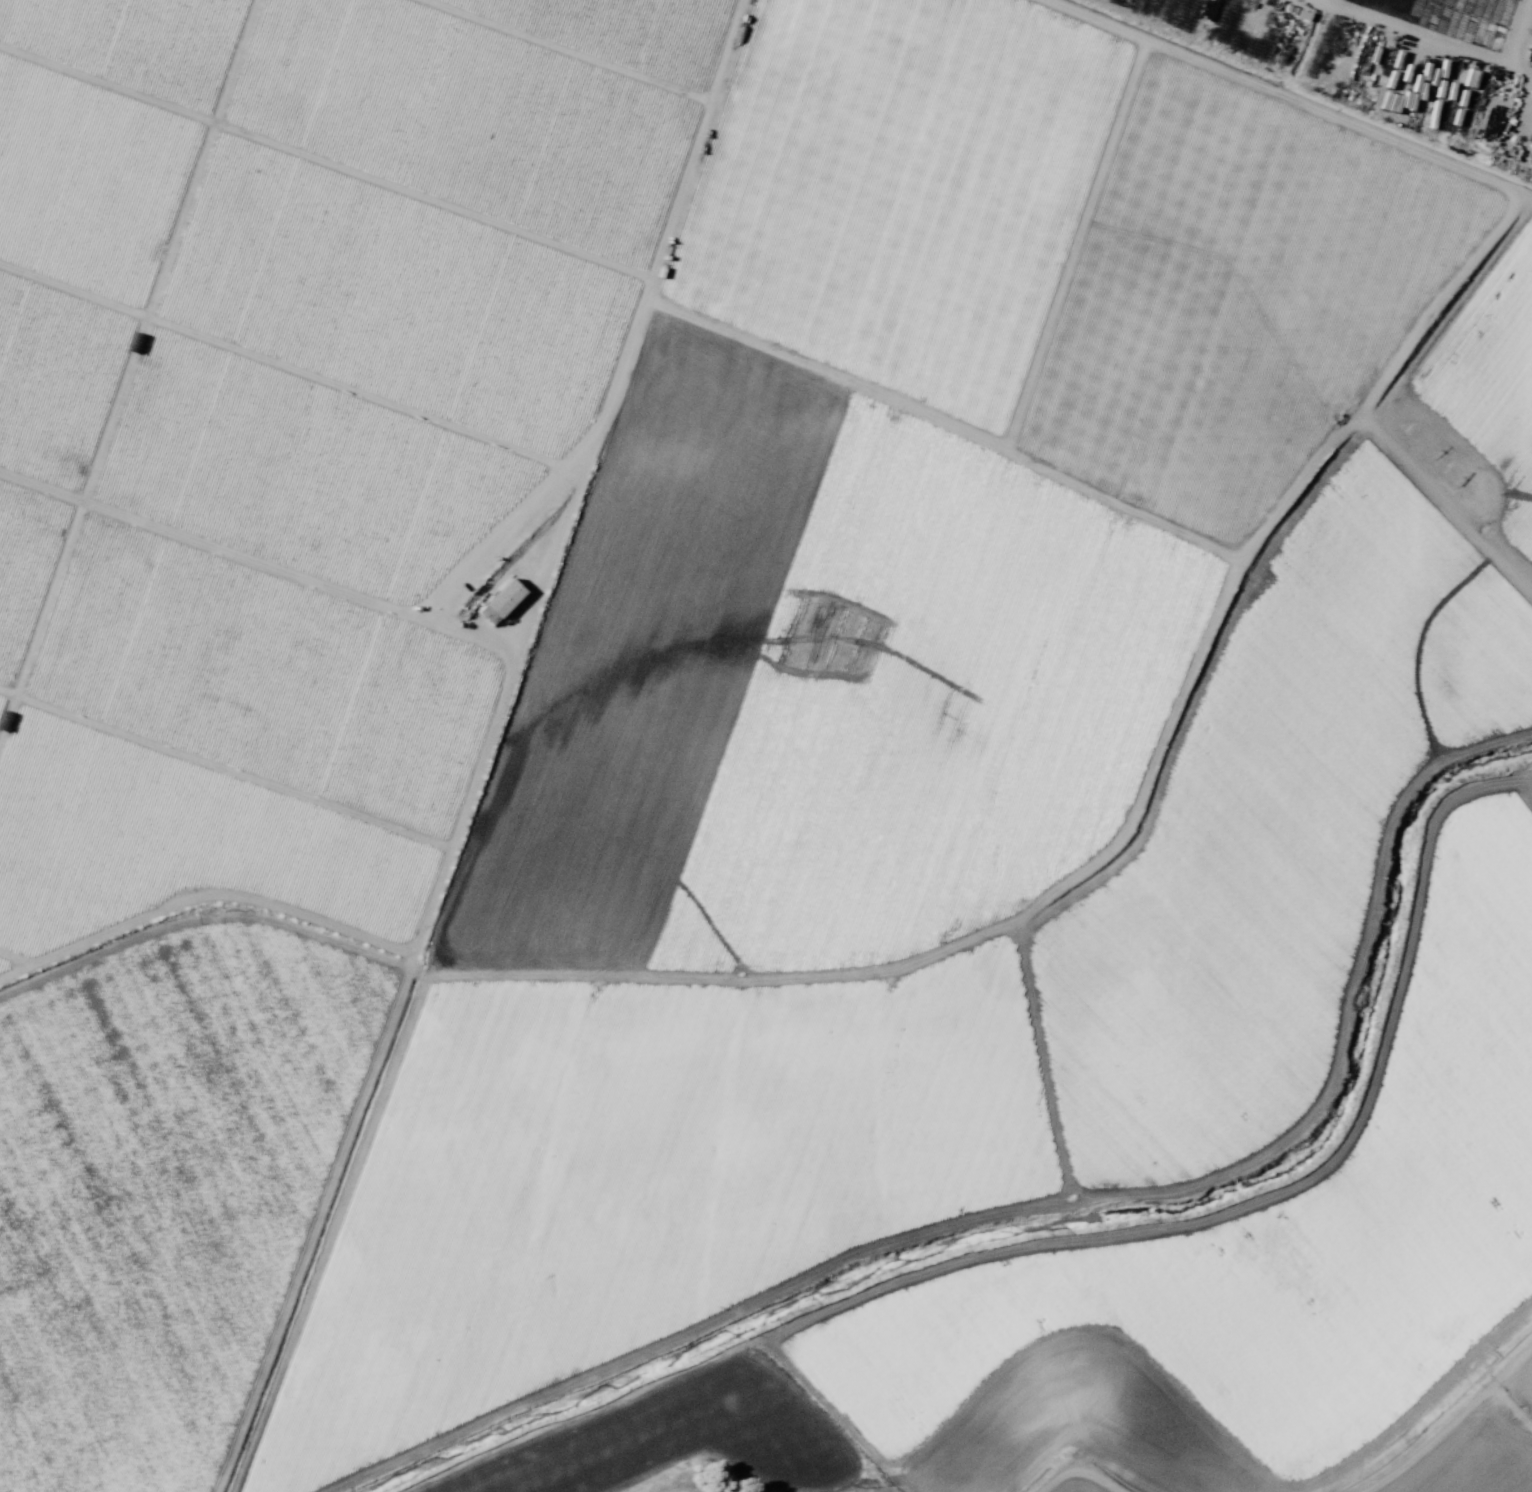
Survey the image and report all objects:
road: (1521, 35)
road: (1428, 37)
road: (1448, 512)
building: (501, 601)
road: (1353, 667)
road: (1198, 684)
crop: (756, 754)
road: (1258, 875)
road: (1198, 1002)
road: (1347, 1014)
road: (1049, 1064)
road: (1187, 1225)
road: (1456, 1420)
road: (1075, 1475)

